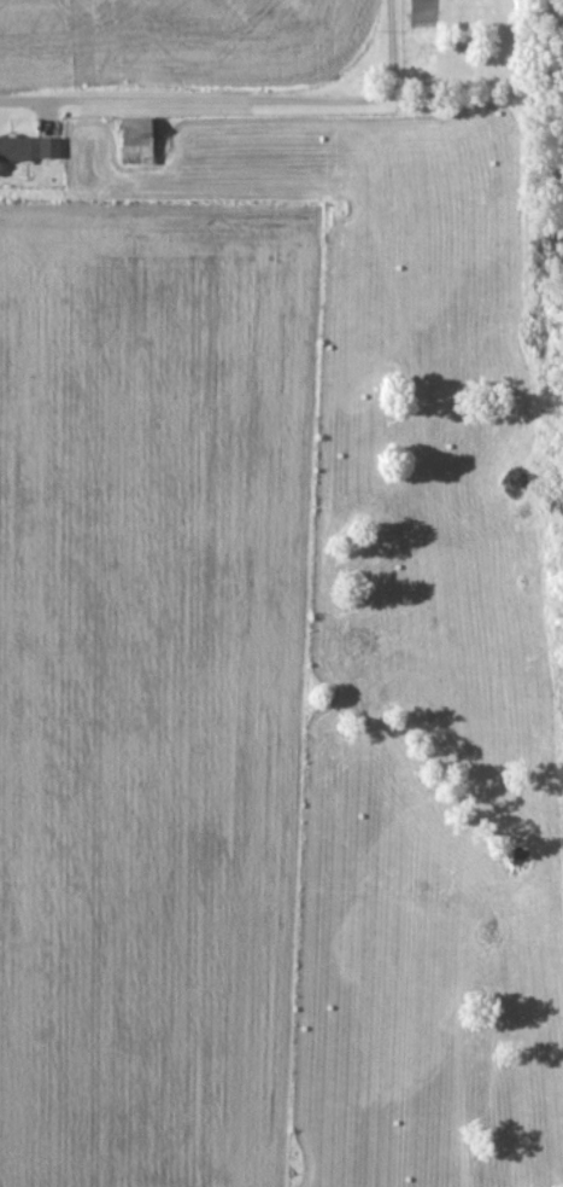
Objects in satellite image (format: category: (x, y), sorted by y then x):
road: (393, 64)
road: (175, 99)
building: (141, 140)
building: (17, 147)
building: (53, 147)

